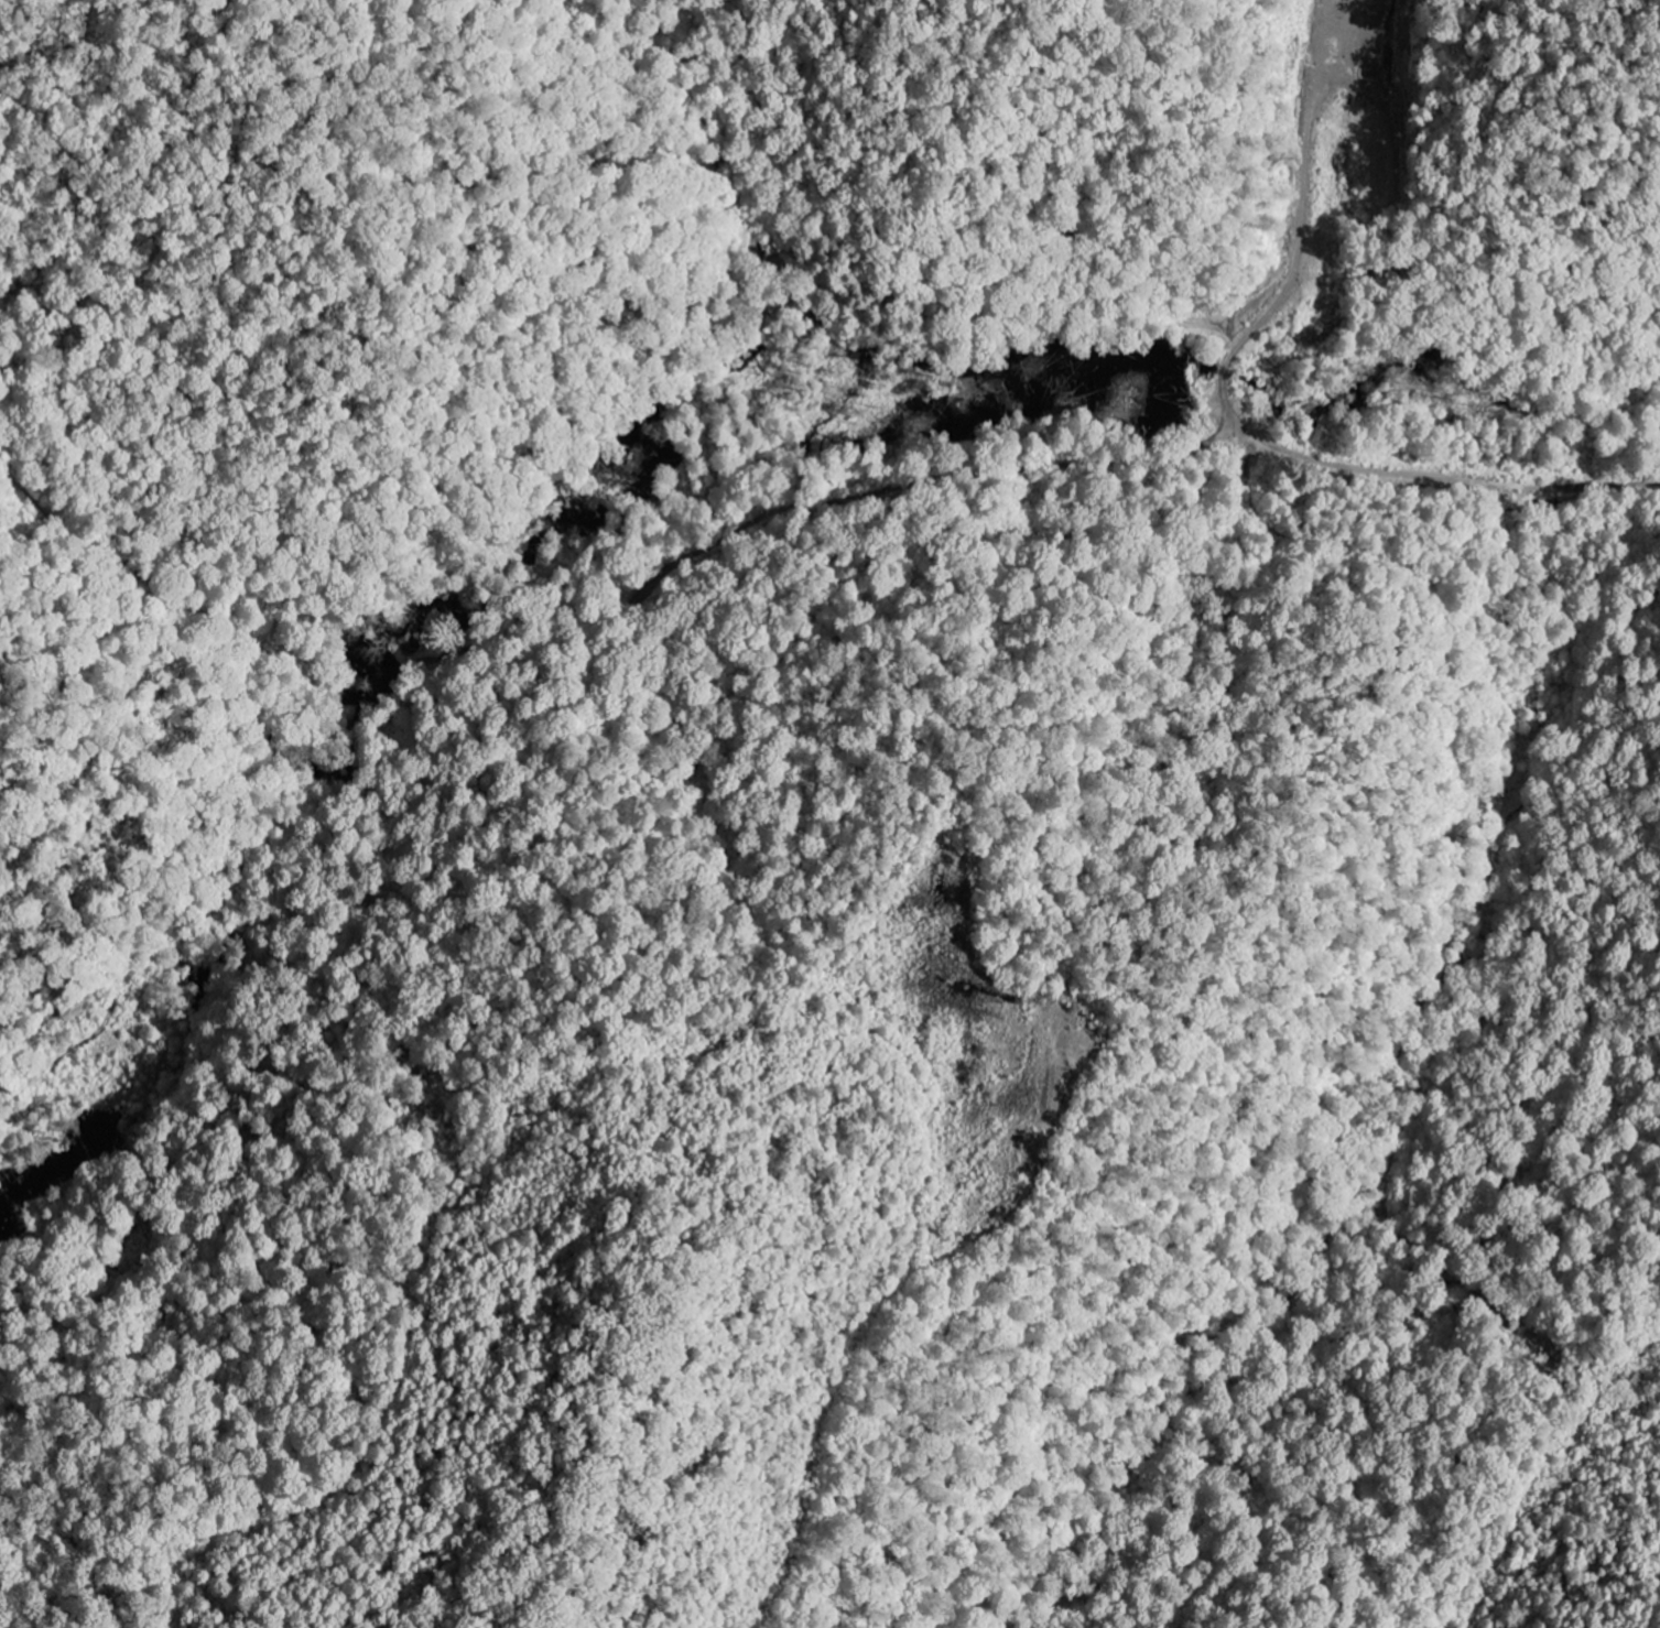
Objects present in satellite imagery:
petroleum well: (1368, 66)

